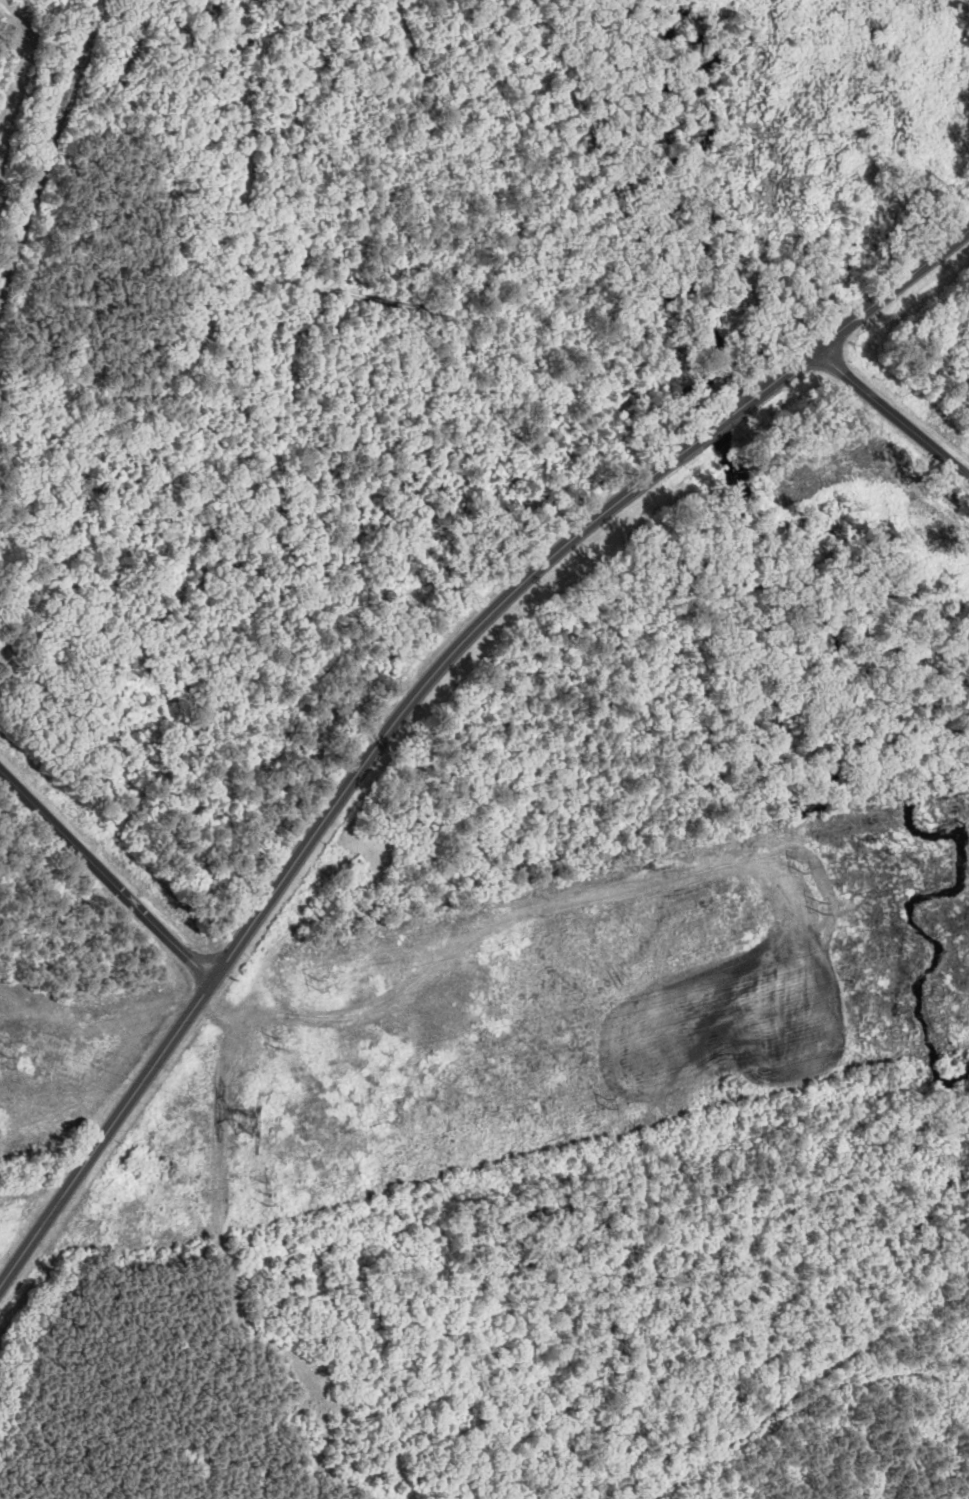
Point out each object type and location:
railway: (51, 148)
road: (858, 314)
road: (891, 413)
road: (718, 421)
road: (312, 836)
power tower: (801, 868)
road: (105, 875)
power tower: (821, 905)
power tower: (320, 986)
power tower: (275, 1043)
power tower: (9, 1061)
power tower: (608, 1102)
power tower: (247, 1118)
power tower: (266, 1190)

